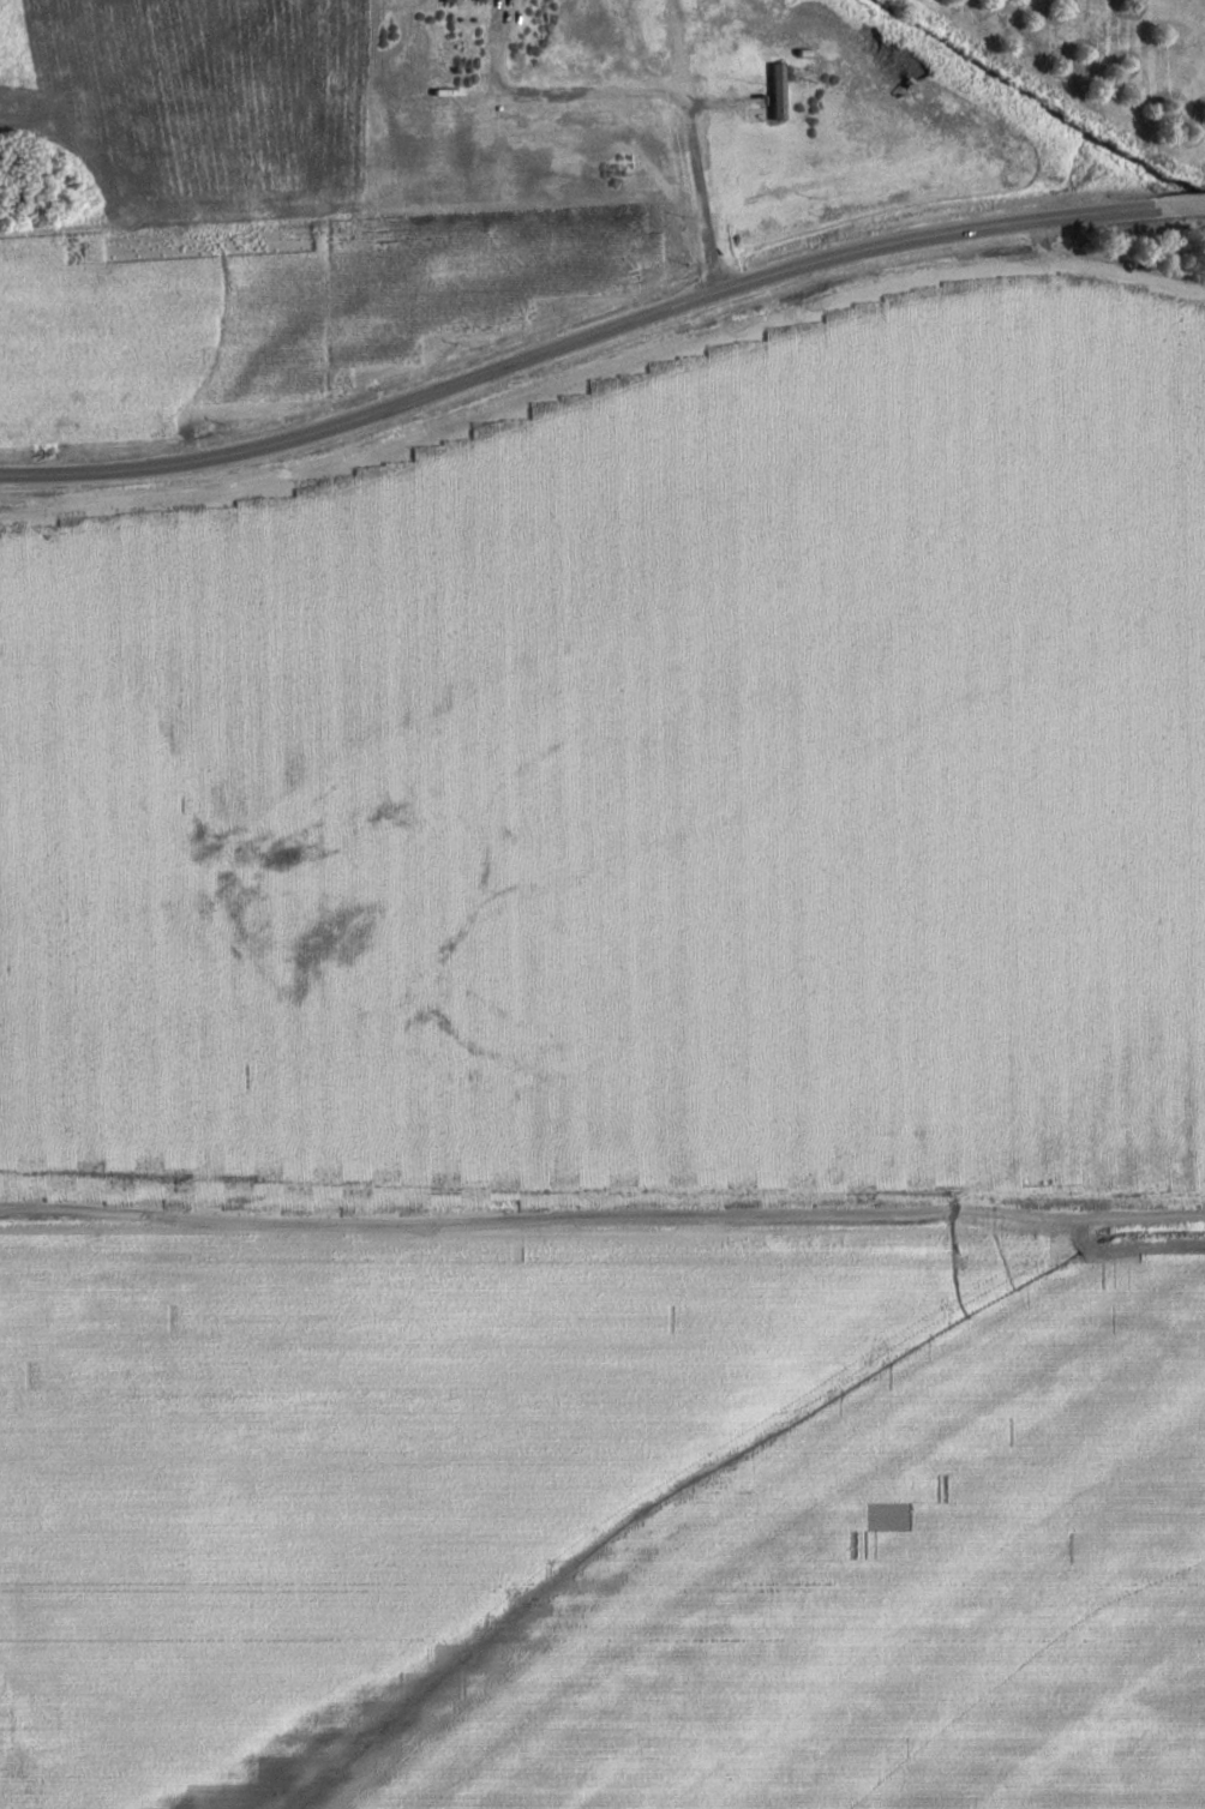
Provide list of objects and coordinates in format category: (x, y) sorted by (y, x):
building: (455, 1)
building: (768, 92)
building: (665, 131)
road: (684, 149)
road: (599, 330)

